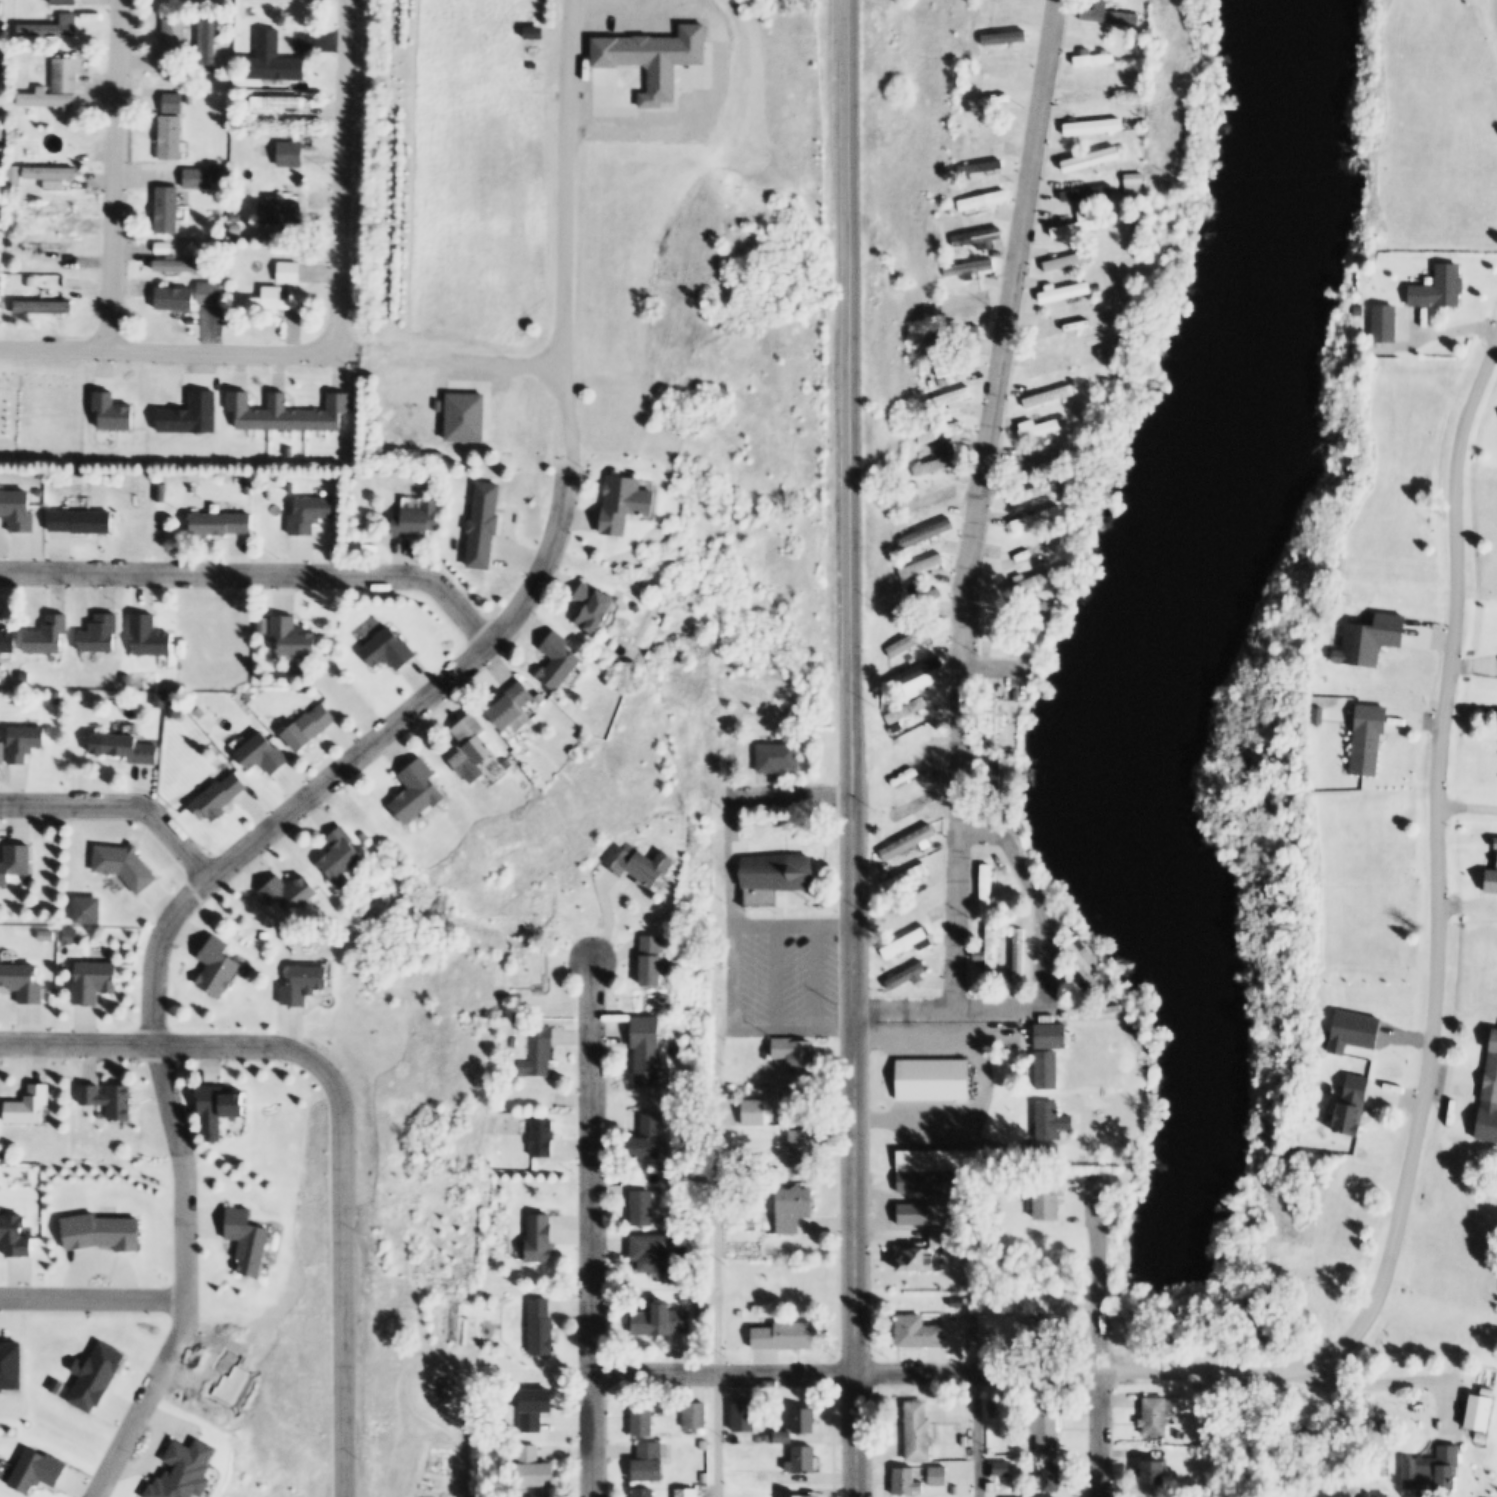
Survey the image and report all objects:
building: (63, 2)
building: (0, 5)
road: (1494, 9)
building: (1108, 12)
building: (226, 19)
building: (50, 27)
building: (173, 31)
building: (205, 45)
building: (271, 59)
building: (1100, 59)
building: (1002, 68)
building: (1146, 72)
building: (2, 73)
building: (56, 87)
building: (1092, 93)
building: (277, 102)
building: (171, 103)
building: (1098, 126)
building: (1146, 137)
building: (169, 138)
building: (289, 154)
building: (1092, 160)
building: (982, 166)
building: (13, 176)
building: (51, 176)
road: (114, 177)
building: (196, 179)
road: (341, 179)
road: (568, 182)
building: (1092, 193)
building: (981, 200)
building: (1144, 206)
building: (49, 210)
building: (165, 210)
building: (279, 212)
building: (232, 218)
building: (1082, 226)
building: (233, 230)
building: (977, 237)
building: (7, 242)
building: (43, 248)
building: (1074, 261)
building: (176, 265)
building: (970, 268)
building: (287, 273)
building: (27, 282)
building: (1440, 289)
building: (1068, 293)
building: (208, 294)
building: (172, 299)
building: (1136, 299)
building: (965, 300)
building: (271, 301)
building: (42, 308)
building: (1359, 311)
building: (1384, 325)
building: (1069, 326)
building: (956, 337)
building: (1126, 339)
building: (1114, 353)
road: (283, 357)
building: (957, 364)
building: (1052, 364)
building: (1053, 398)
building: (948, 400)
building: (287, 414)
building: (1046, 429)
building: (942, 434)
building: (287, 452)
building: (1041, 462)
building: (937, 465)
building: (351, 473)
building: (288, 488)
building: (277, 489)
building: (244, 490)
building: (1039, 493)
building: (36, 494)
building: (933, 499)
road: (979, 500)
building: (627, 502)
building: (16, 510)
building: (308, 514)
building: (1040, 519)
building: (415, 520)
building: (79, 522)
building: (217, 523)
building: (482, 525)
building: (926, 533)
building: (1029, 557)
building: (922, 566)
road: (260, 577)
building: (1034, 585)
building: (599, 604)
building: (916, 604)
building: (643, 606)
building: (261, 625)
building: (1001, 627)
building: (97, 634)
building: (45, 635)
building: (147, 636)
building: (291, 637)
building: (914, 639)
building: (6, 640)
river: (1166, 644)
building: (385, 649)
building: (562, 660)
road: (997, 661)
building: (918, 673)
building: (124, 680)
road: (852, 685)
building: (52, 697)
building: (243, 698)
building: (545, 698)
building: (157, 699)
building: (515, 705)
building: (908, 709)
building: (172, 711)
building: (994, 724)
building: (901, 726)
building: (307, 727)
building: (916, 741)
building: (21, 742)
building: (122, 747)
building: (472, 748)
building: (1, 752)
building: (260, 753)
building: (781, 756)
building: (917, 770)
building: (416, 790)
building: (216, 796)
building: (915, 805)
road: (120, 808)
building: (362, 837)
road: (733, 839)
building: (913, 840)
building: (341, 857)
building: (14, 861)
building: (640, 864)
building: (122, 866)
building: (880, 866)
road: (1439, 868)
building: (907, 875)
building: (777, 876)
road: (212, 877)
building: (990, 887)
building: (288, 893)
building: (981, 926)
building: (284, 935)
building: (263, 936)
building: (911, 942)
building: (994, 950)
building: (1023, 952)
building: (657, 959)
building: (1089, 965)
building: (215, 967)
building: (526, 968)
parking lot: (784, 972)
building: (907, 976)
building: (21, 981)
building: (91, 981)
building: (305, 984)
road: (1048, 987)
building: (1107, 1011)
building: (515, 1014)
building: (1069, 1014)
building: (746, 1024)
building: (1055, 1035)
building: (515, 1041)
road: (166, 1047)
building: (654, 1048)
building: (540, 1051)
building: (794, 1054)
building: (1051, 1069)
building: (1492, 1074)
building: (934, 1079)
building: (765, 1087)
building: (794, 1096)
building: (107, 1100)
building: (1355, 1104)
building: (27, 1106)
building: (216, 1109)
building: (754, 1111)
building: (1052, 1121)
building: (653, 1137)
building: (801, 1151)
building: (5, 1157)
building: (942, 1170)
road: (717, 1184)
building: (1052, 1195)
building: (645, 1207)
building: (794, 1207)
building: (916, 1214)
road: (592, 1228)
building: (544, 1236)
building: (941, 1236)
building: (655, 1251)
building: (917, 1259)
road: (1101, 1268)
road: (342, 1282)
building: (1068, 1290)
road: (92, 1305)
building: (740, 1314)
building: (954, 1315)
building: (663, 1320)
building: (542, 1327)
building: (1001, 1329)
building: (921, 1331)
building: (1045, 1332)
building: (785, 1336)
road: (847, 1372)
road: (1208, 1373)
road: (1405, 1383)
building: (449, 1388)
building: (994, 1405)
building: (536, 1407)
building: (1482, 1413)
building: (696, 1415)
building: (645, 1416)
building: (1155, 1416)
building: (805, 1420)
building: (1046, 1427)
building: (920, 1431)
road: (1101, 1433)
road: (858, 1434)
road: (980, 1434)
building: (784, 1436)
building: (766, 1437)
building: (964, 1440)
road: (465, 1441)
building: (705, 1445)
building: (804, 1459)
building: (650, 1461)
building: (1004, 1466)
building: (535, 1467)
building: (1441, 1468)
building: (1156, 1472)
building: (939, 1474)
building: (705, 1477)
building: (765, 1477)
building: (1051, 1477)
building: (910, 1480)
building: (645, 1491)
building: (688, 1492)
building: (803, 1495)
building: (544, 1496)

